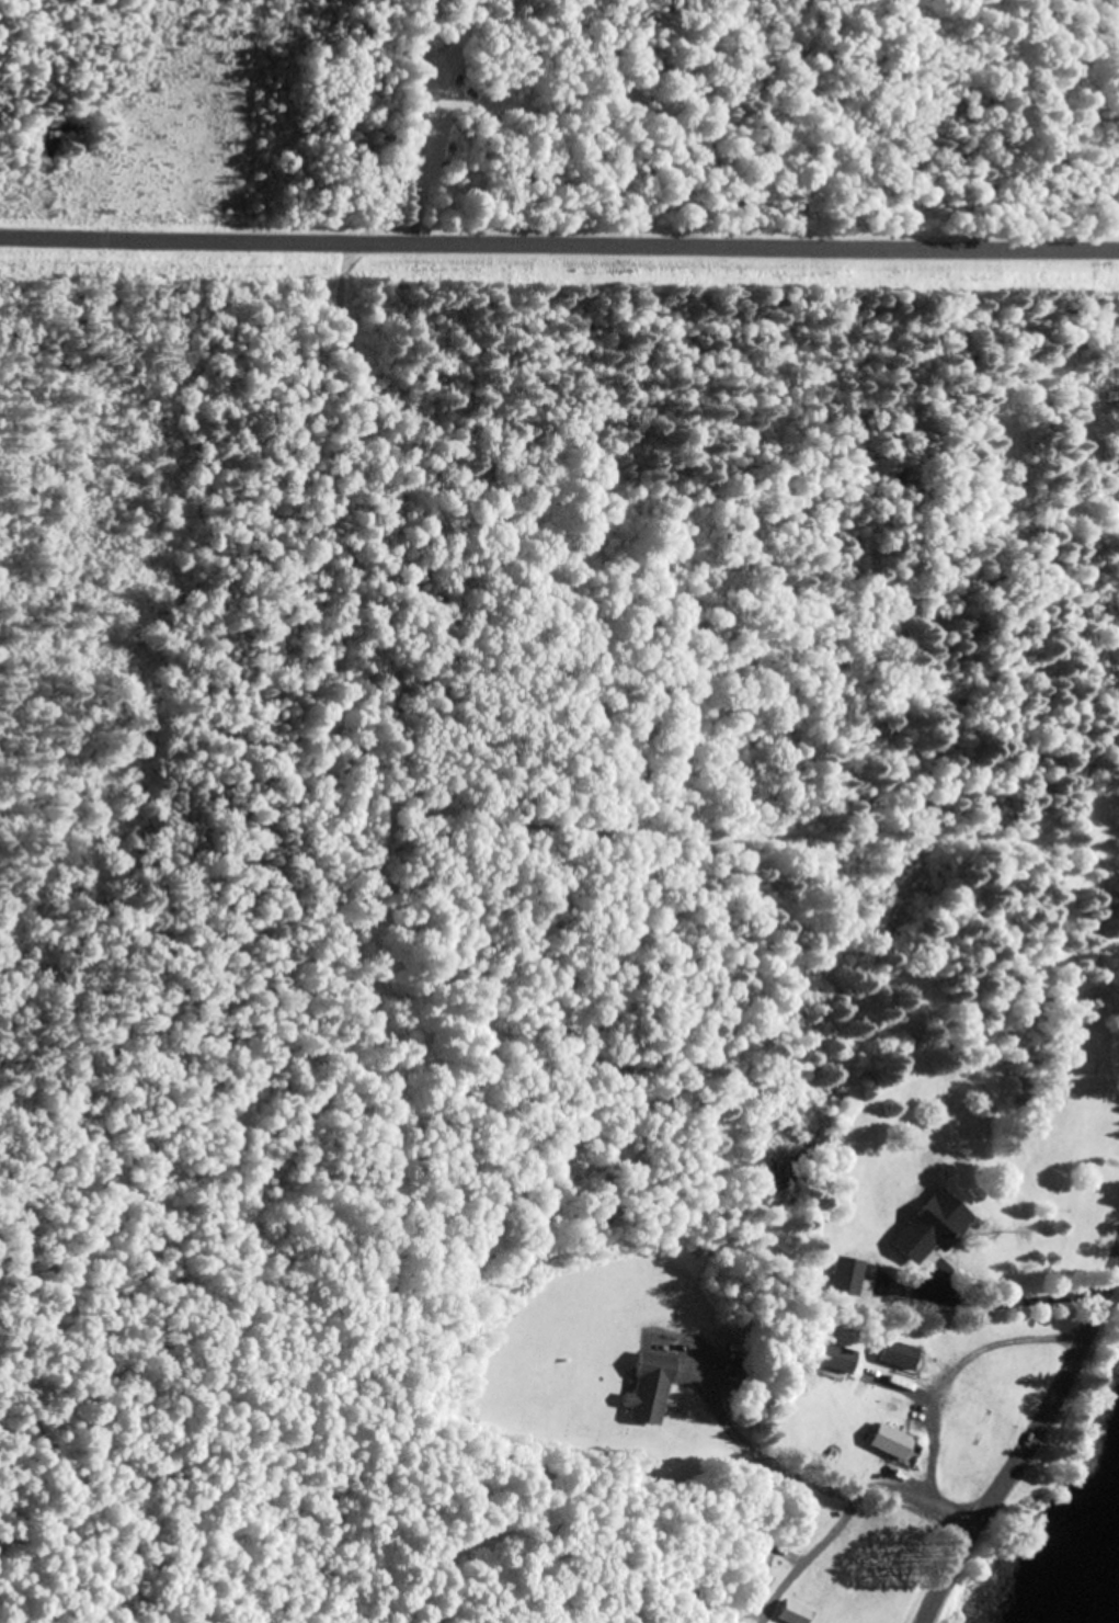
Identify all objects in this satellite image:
road: (559, 243)
building: (848, 1275)
building: (900, 1354)
building: (840, 1358)
building: (650, 1387)
building: (892, 1441)
road: (1030, 1444)
building: (758, 1559)
building: (796, 1613)

